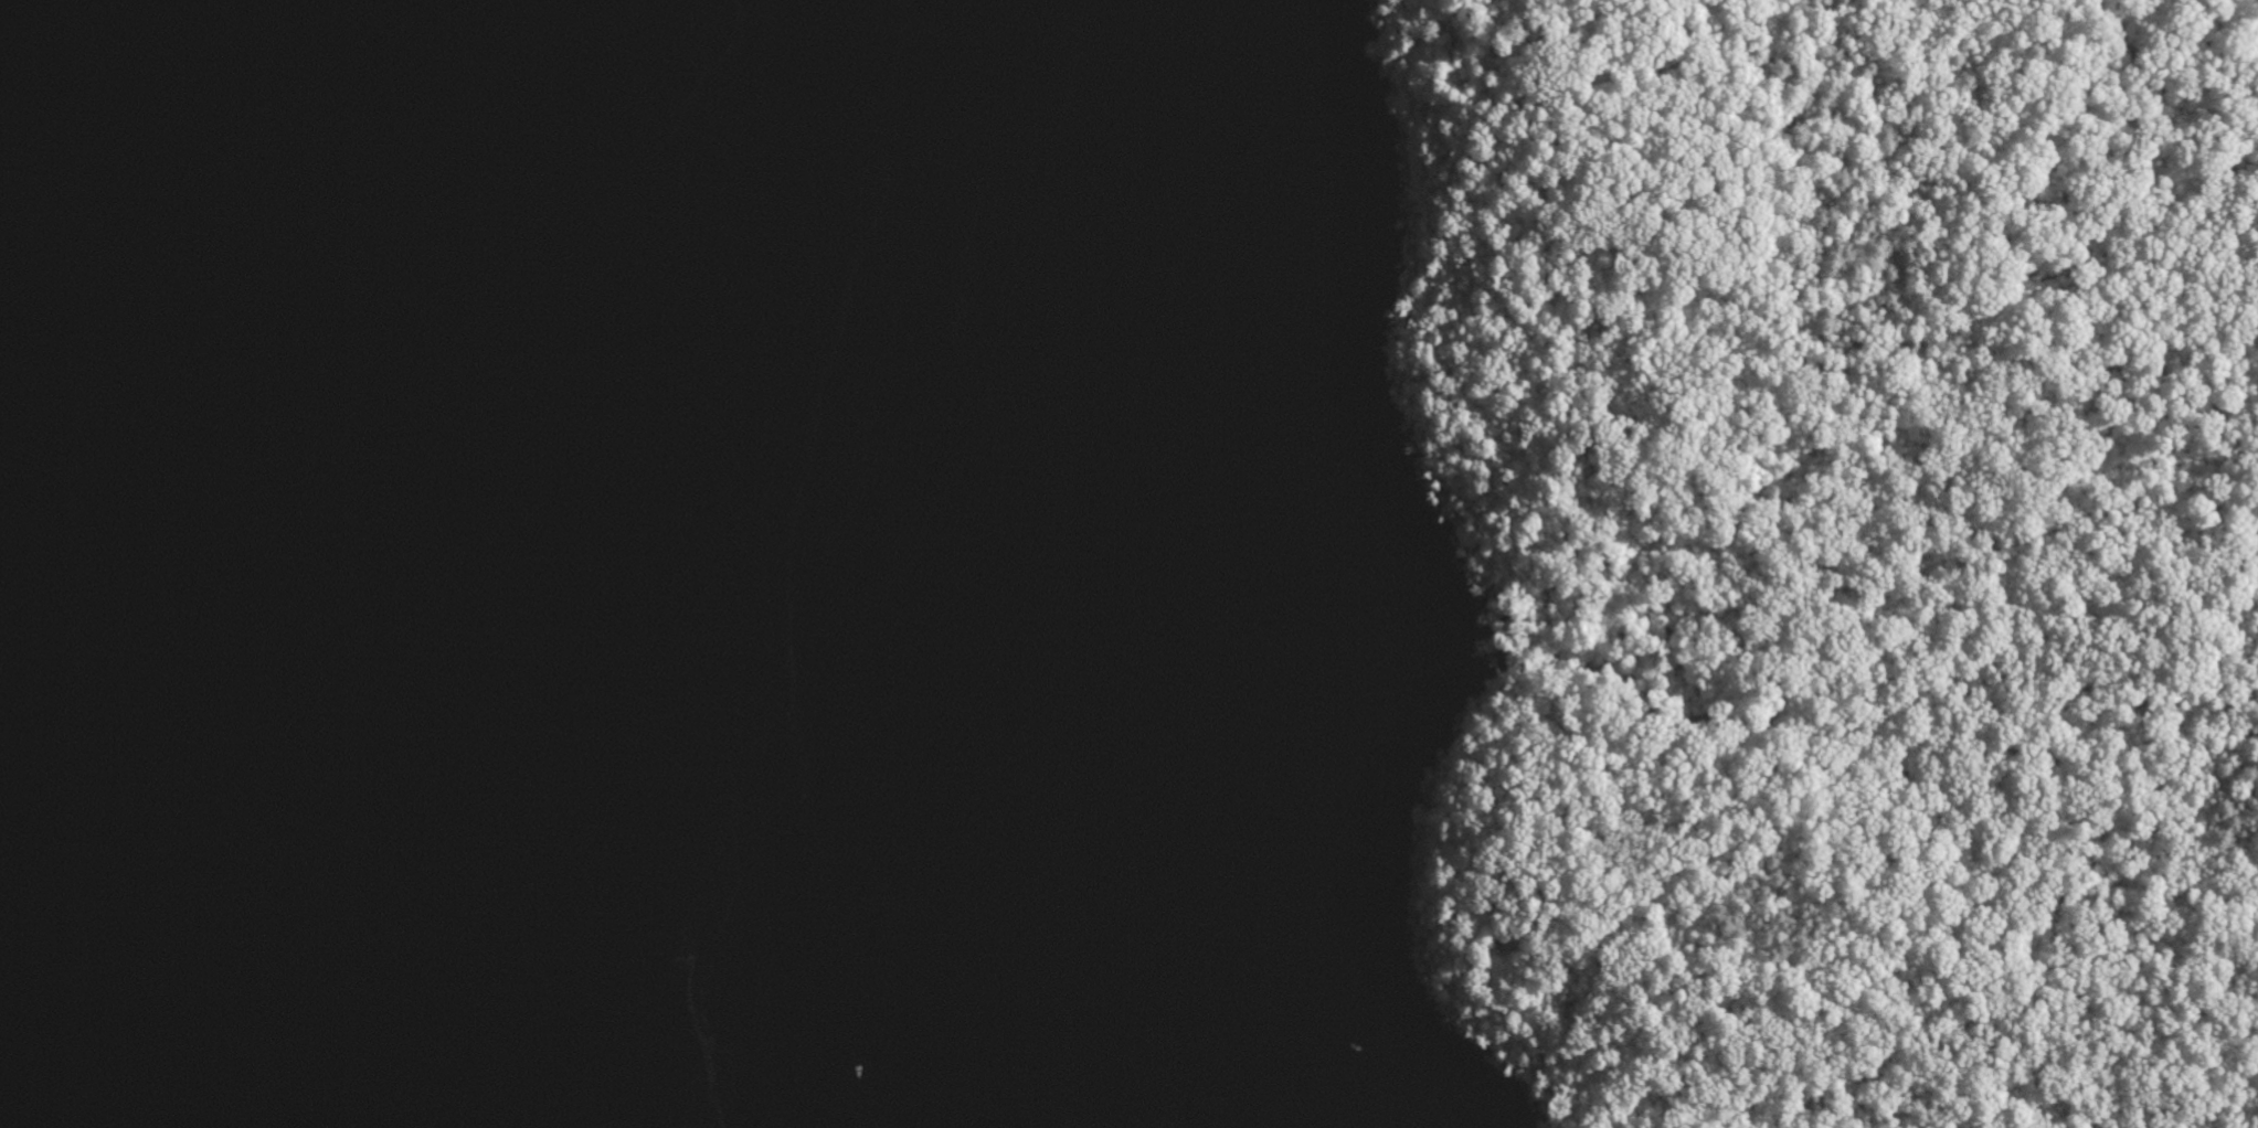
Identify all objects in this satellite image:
river: (325, 562)

